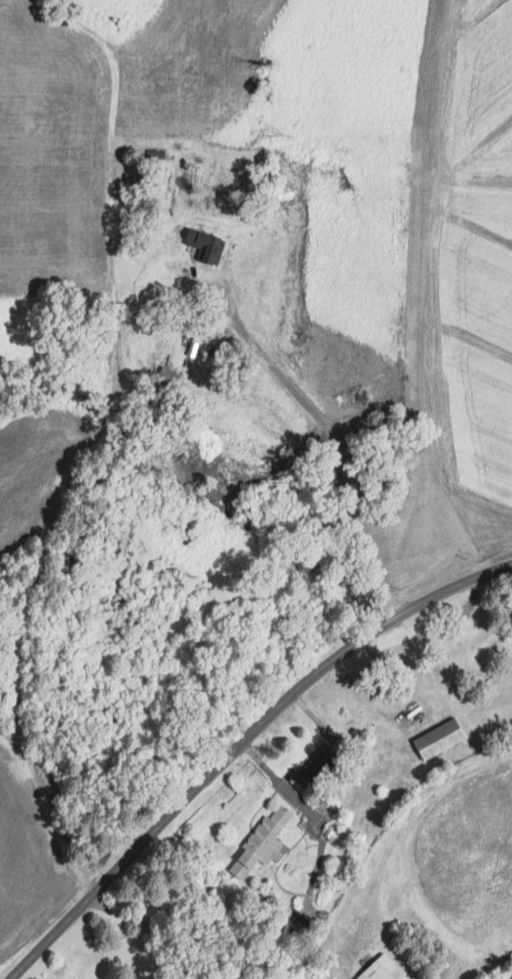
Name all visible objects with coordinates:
building: (206, 246)
road: (122, 412)
building: (118, 546)
building: (307, 562)
building: (440, 739)
road: (240, 743)
building: (325, 759)
building: (337, 795)
building: (262, 844)
road: (152, 925)
building: (382, 970)
building: (505, 975)

